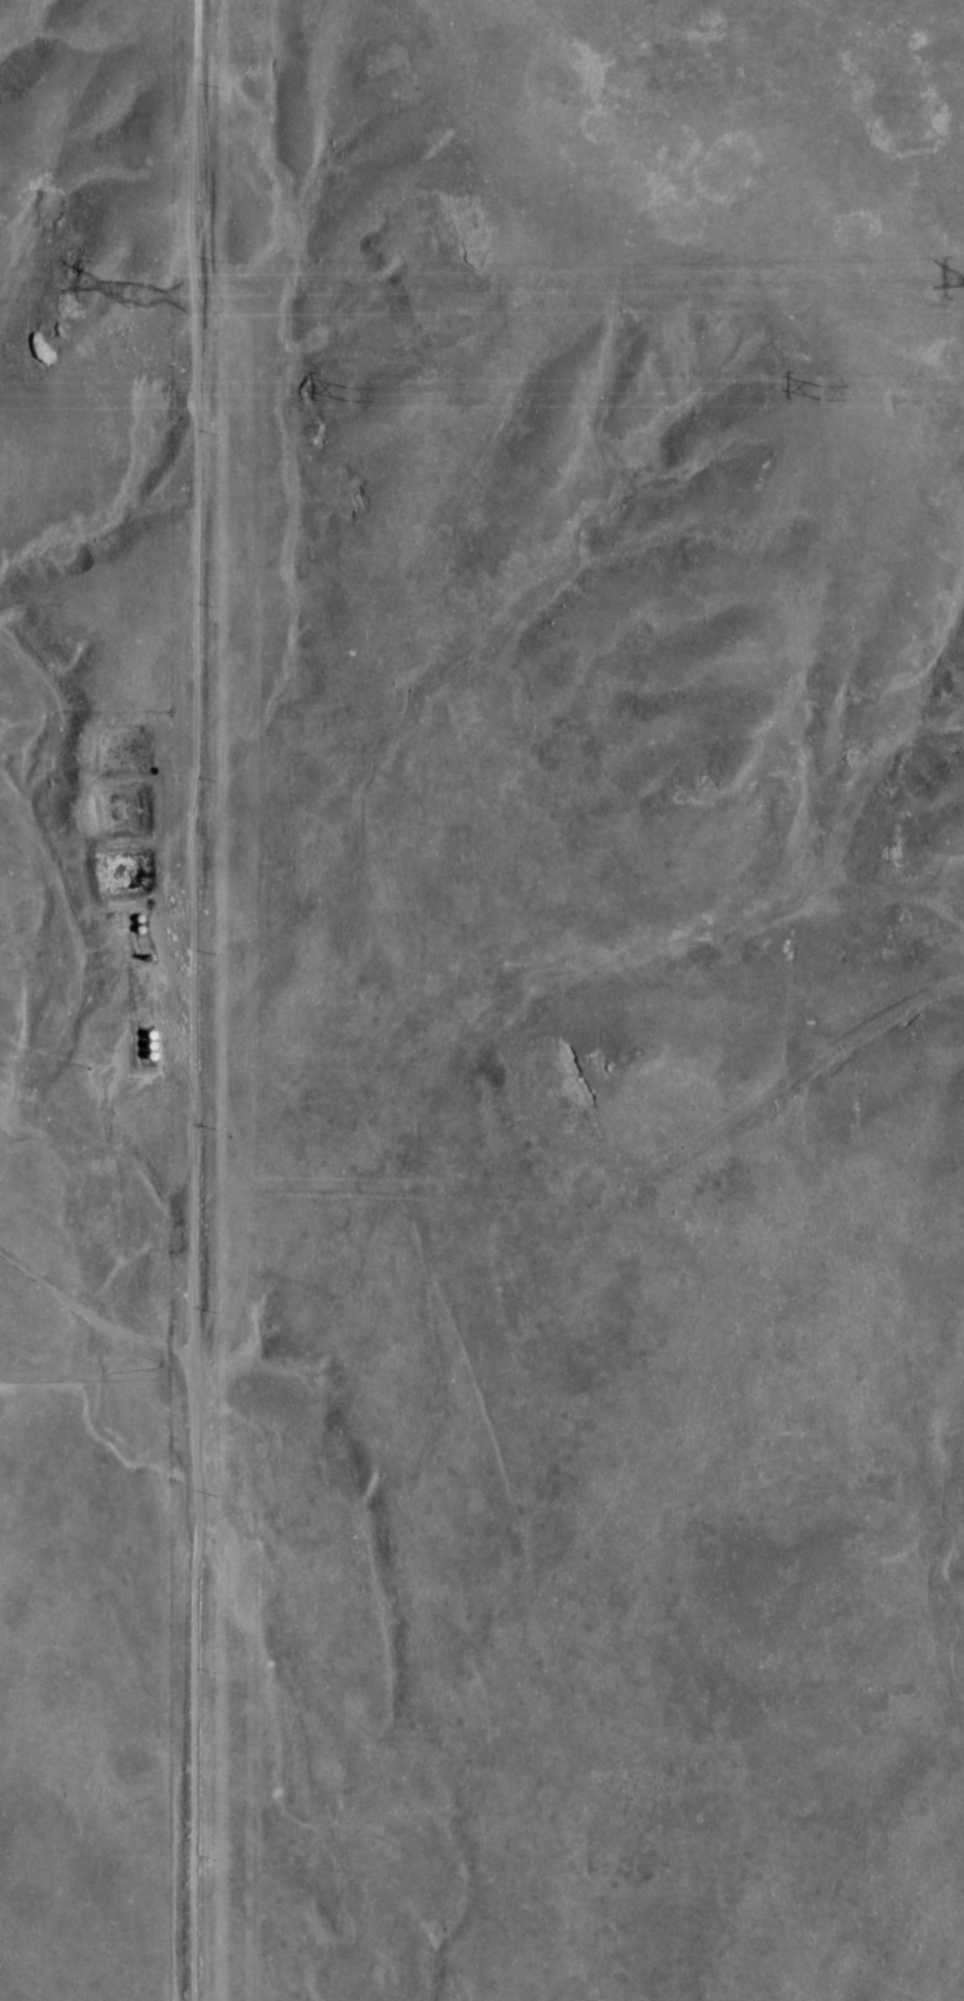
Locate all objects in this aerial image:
power tower: (137, 294)
power tower: (819, 388)
power tower: (347, 393)
road: (200, 1000)
building: (149, 1047)
road: (98, 1316)

